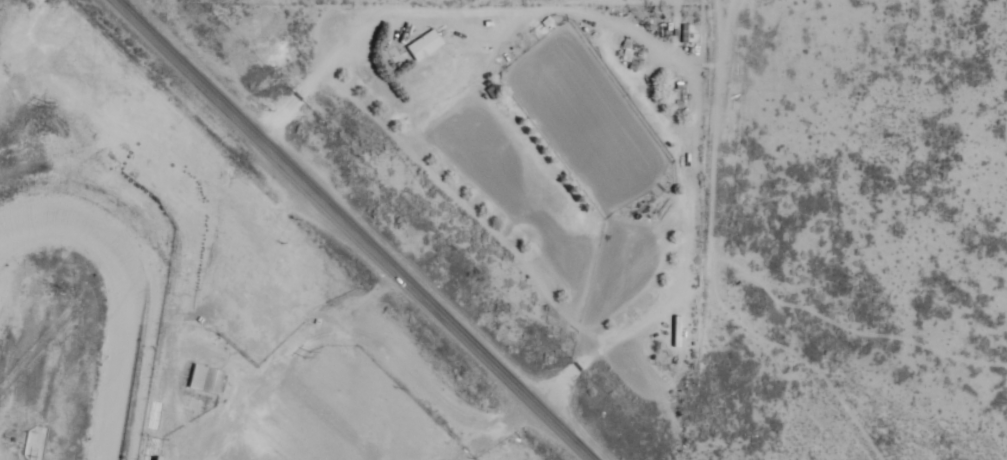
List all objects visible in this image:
power tower: (36, 105)
road: (351, 229)
raceway: (126, 286)
power tower: (305, 354)
building: (205, 377)
road: (487, 432)

